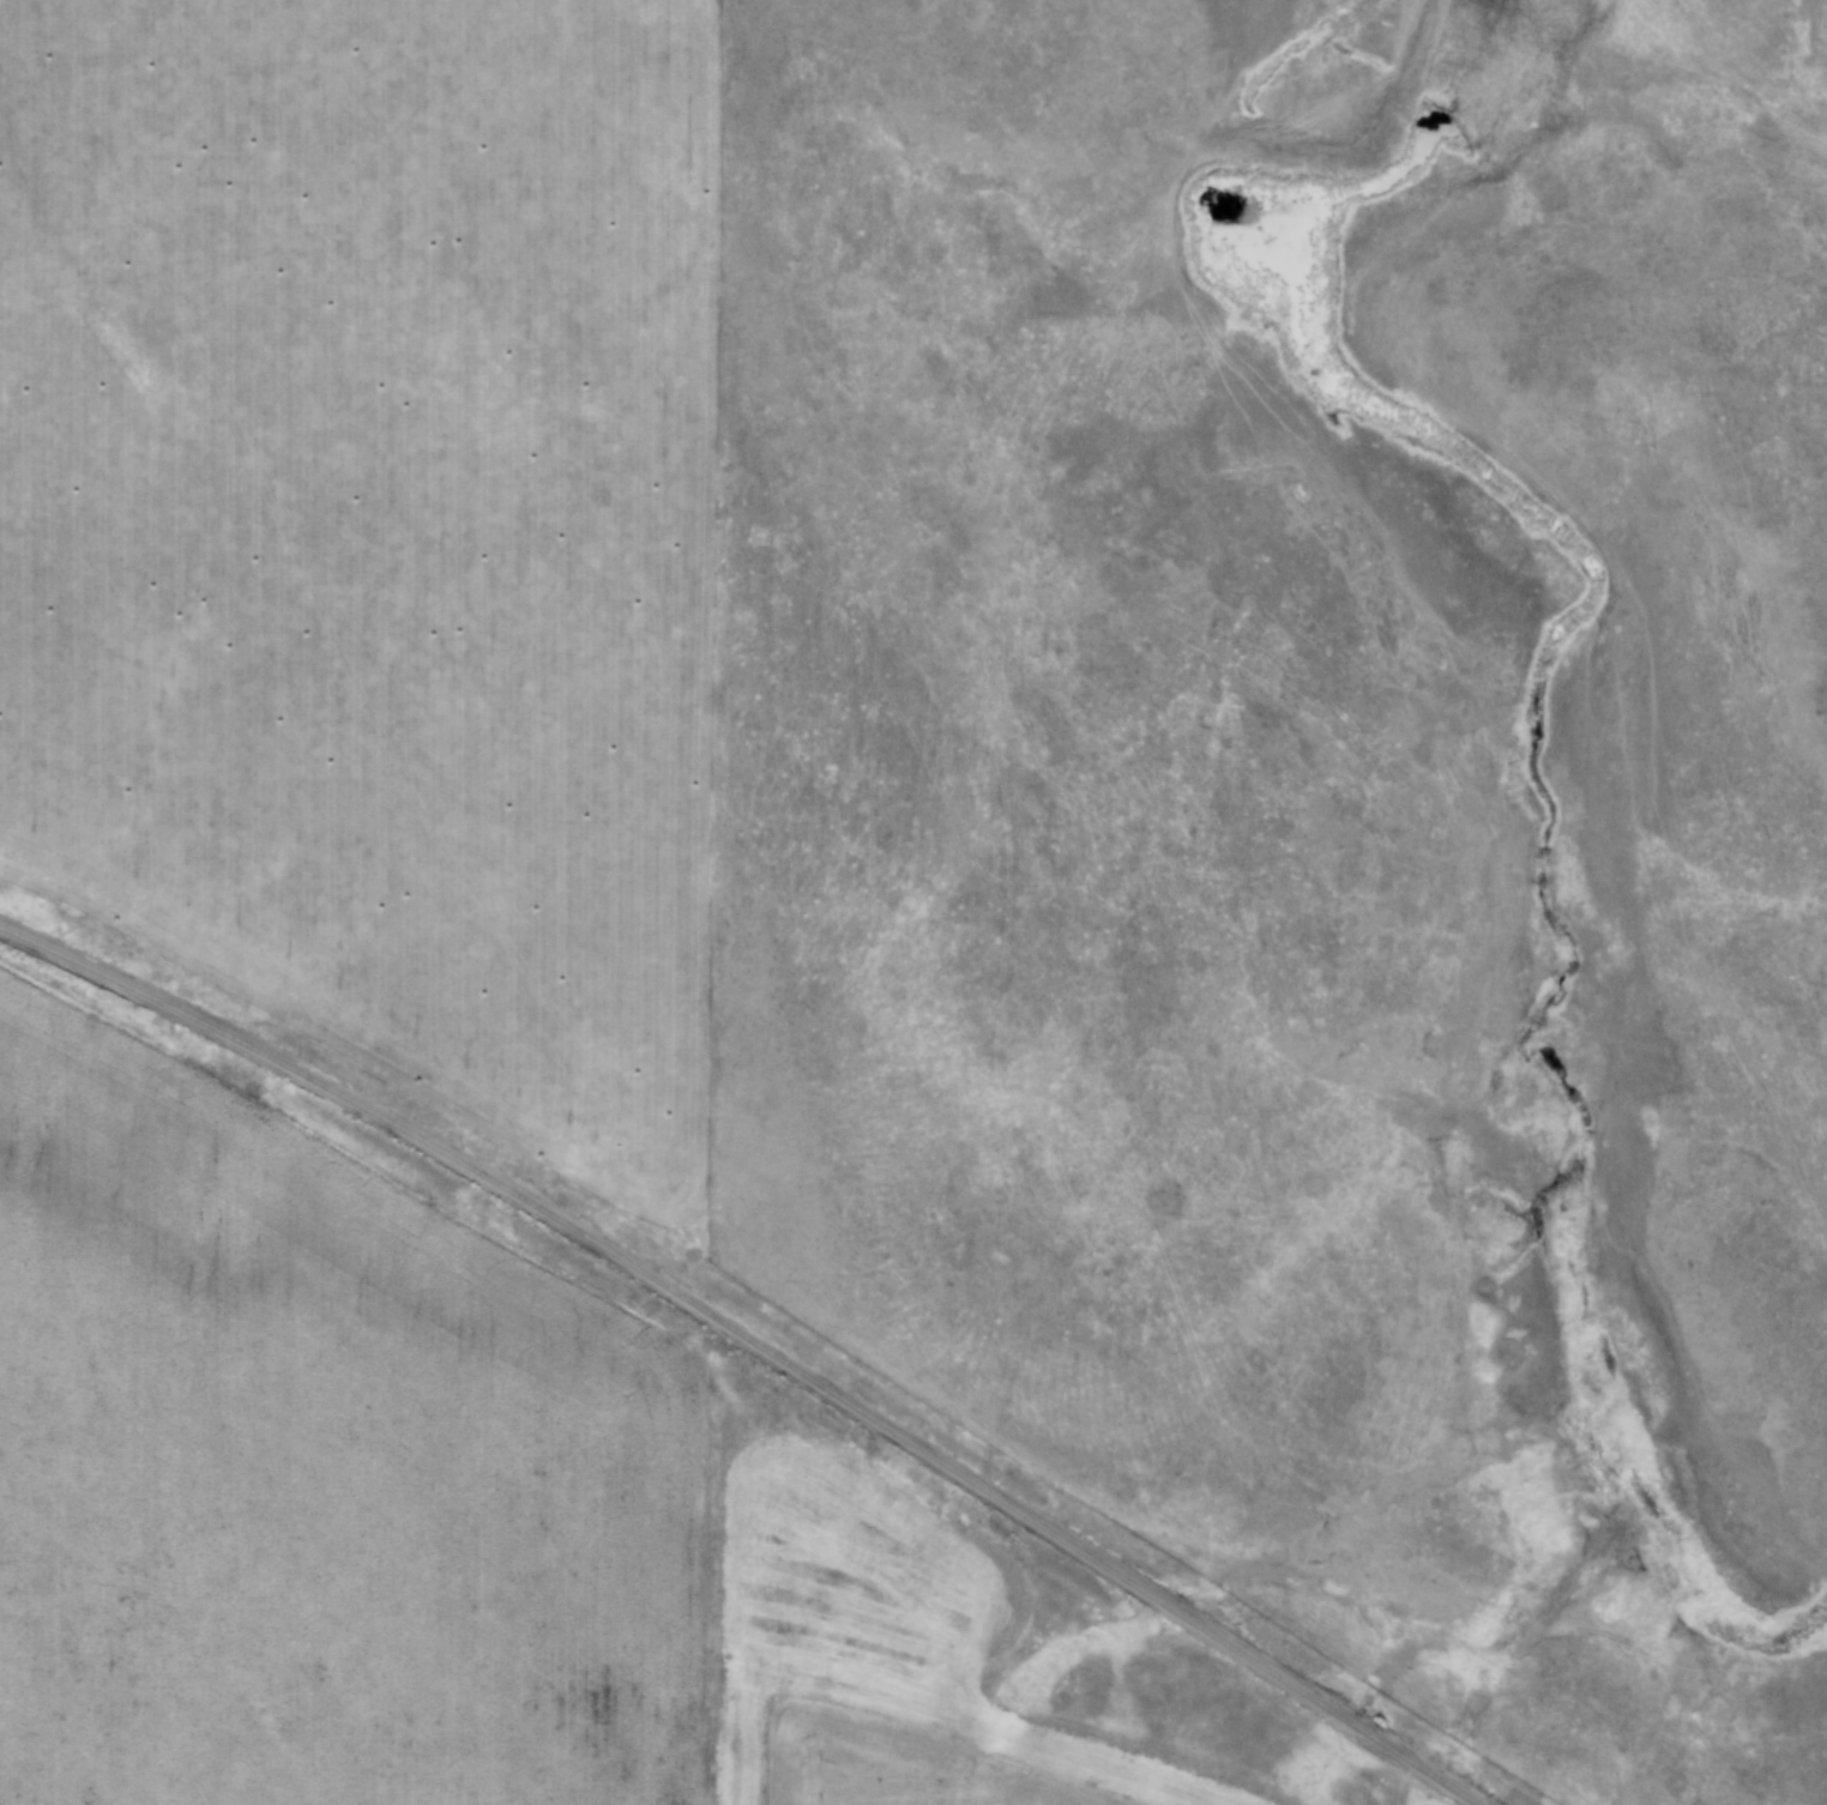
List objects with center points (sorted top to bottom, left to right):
railway: (748, 1348)

